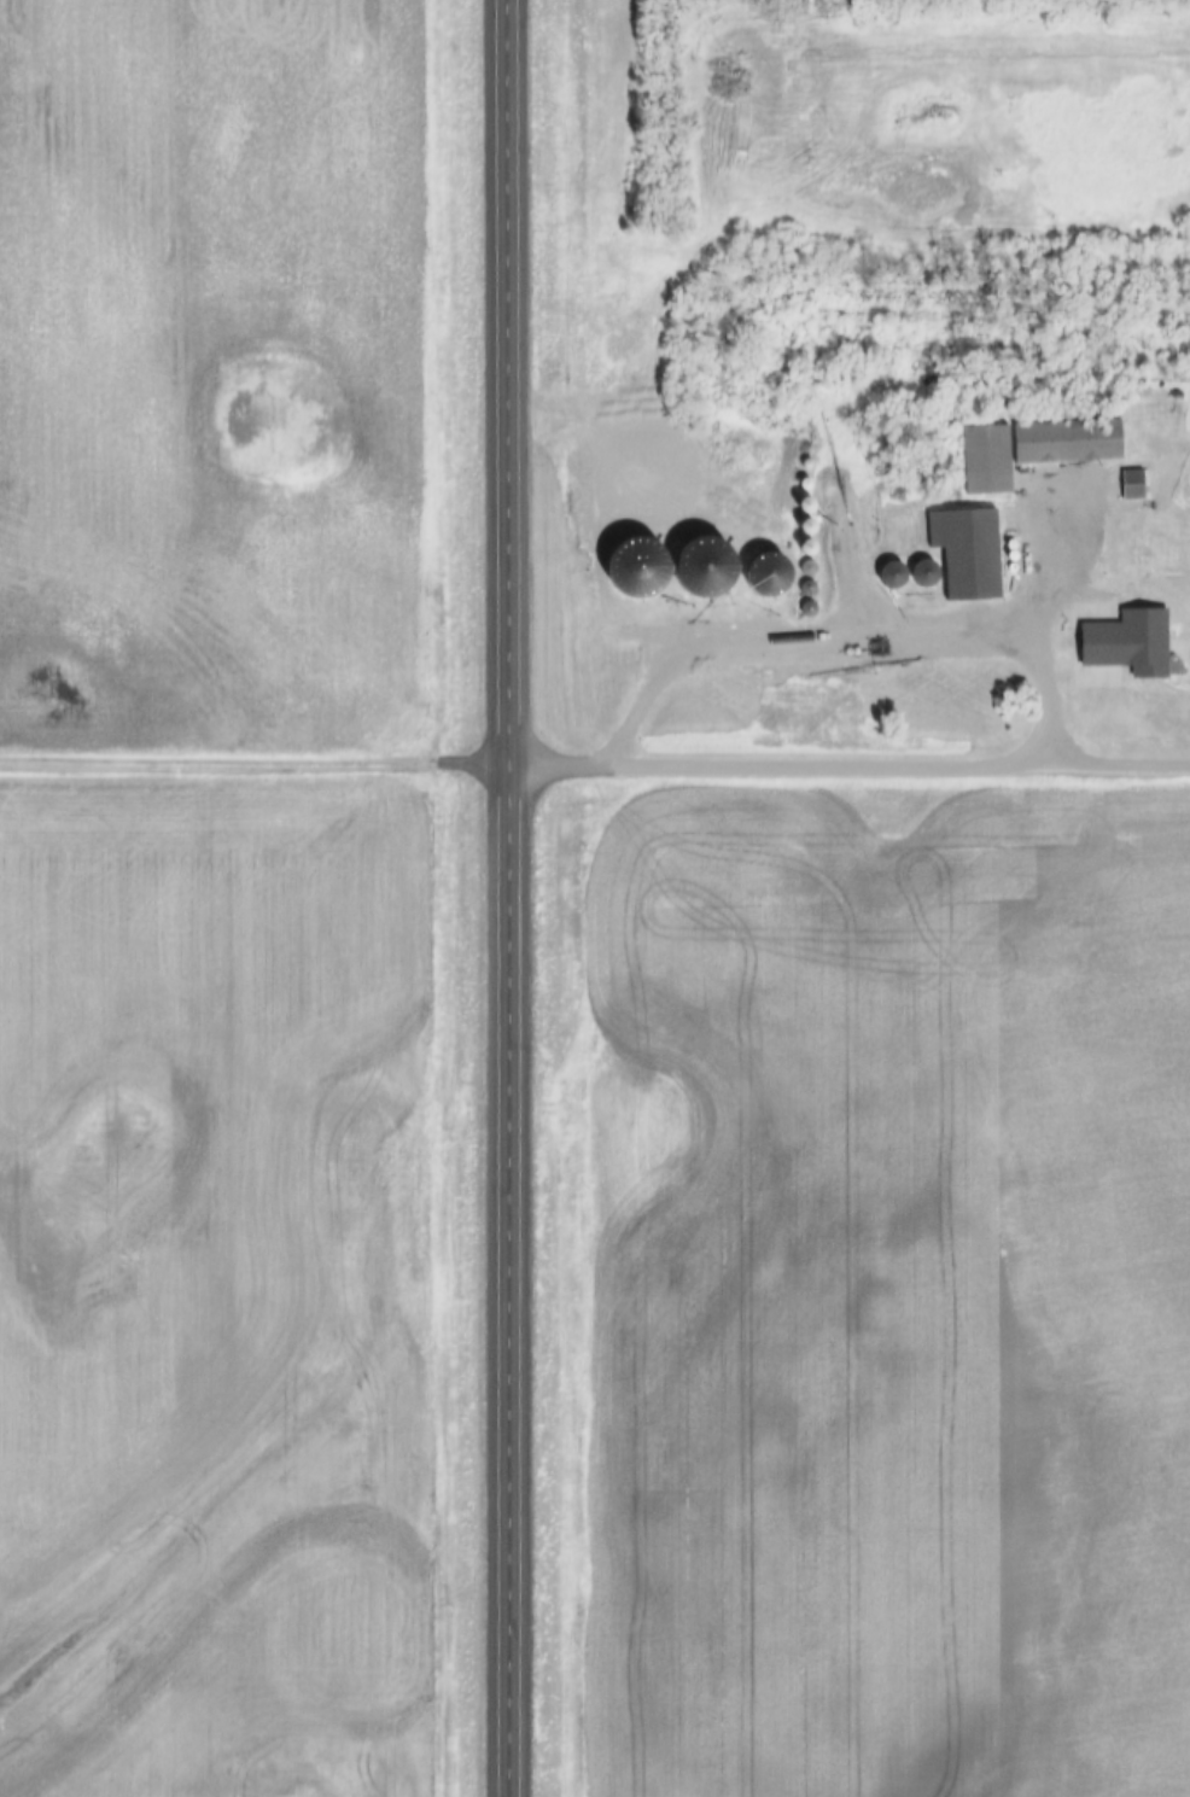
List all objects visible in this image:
building: (1137, 406)
building: (1022, 449)
building: (798, 485)
building: (1124, 485)
building: (957, 554)
building: (749, 576)
road: (852, 638)
building: (1139, 644)
building: (1072, 684)
road: (264, 760)
road: (859, 760)
road: (529, 898)

